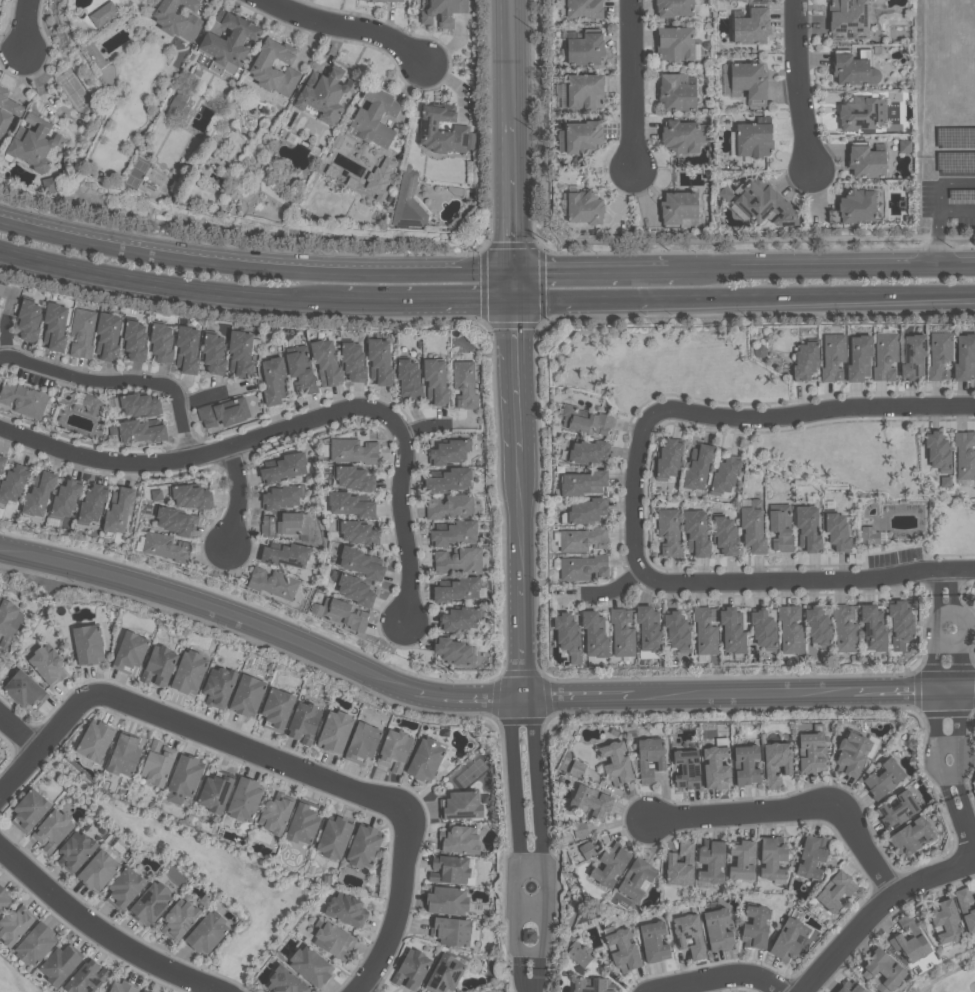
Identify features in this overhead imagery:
building: (387, 1)
building: (580, 8)
building: (673, 8)
building: (442, 12)
building: (104, 13)
road: (25, 19)
building: (177, 19)
building: (848, 19)
road: (359, 24)
building: (751, 27)
building: (229, 40)
building: (674, 45)
building: (583, 49)
building: (96, 53)
road: (510, 59)
building: (273, 69)
building: (853, 69)
building: (748, 83)
road: (799, 85)
road: (635, 86)
building: (584, 92)
building: (676, 93)
building: (321, 96)
building: (177, 104)
building: (6, 113)
building: (861, 113)
building: (375, 118)
building: (441, 131)
building: (679, 137)
building: (581, 138)
building: (336, 141)
building: (752, 141)
building: (32, 144)
building: (905, 145)
building: (865, 162)
building: (379, 180)
building: (49, 185)
road: (511, 194)
road: (939, 198)
building: (407, 202)
building: (765, 203)
building: (856, 207)
building: (584, 208)
building: (678, 209)
road: (72, 234)
road: (937, 237)
road: (826, 264)
road: (327, 268)
road: (595, 268)
road: (511, 284)
road: (169, 285)
traffic signals: (511, 286)
building: (2, 288)
road: (821, 295)
road: (589, 298)
road: (475, 301)
road: (390, 302)
building: (29, 319)
building: (55, 326)
building: (82, 331)
building: (108, 335)
building: (135, 339)
building: (162, 342)
building: (187, 349)
building: (214, 352)
building: (240, 352)
building: (884, 356)
building: (938, 356)
building: (832, 357)
building: (912, 357)
building: (964, 357)
building: (857, 358)
building: (326, 361)
building: (354, 361)
building: (380, 361)
building: (804, 361)
building: (301, 368)
building: (409, 378)
road: (121, 380)
building: (273, 380)
building: (436, 380)
building: (464, 385)
building: (23, 397)
building: (89, 402)
building: (140, 404)
building: (221, 413)
road: (809, 414)
building: (585, 421)
building: (141, 430)
building: (354, 450)
building: (449, 452)
building: (938, 452)
building: (587, 453)
road: (203, 454)
road: (892, 454)
building: (964, 454)
building: (668, 459)
building: (2, 462)
building: (285, 467)
building: (697, 468)
building: (724, 475)
building: (354, 477)
building: (447, 481)
building: (946, 481)
building: (13, 482)
building: (582, 483)
park: (873, 485)
building: (39, 494)
building: (157, 494)
road: (238, 494)
road: (632, 494)
building: (191, 495)
building: (284, 496)
building: (66, 498)
road: (516, 498)
building: (93, 503)
building: (351, 504)
building: (450, 506)
building: (119, 509)
building: (586, 512)
building: (176, 519)
building: (286, 522)
road: (406, 527)
building: (779, 527)
building: (806, 528)
building: (752, 530)
building: (358, 531)
building: (669, 532)
building: (836, 532)
building: (695, 533)
building: (454, 534)
building: (724, 536)
building: (868, 536)
building: (582, 539)
building: (166, 545)
building: (286, 554)
building: (458, 561)
building: (361, 562)
building: (583, 567)
road: (805, 579)
road: (952, 582)
building: (273, 583)
road: (603, 588)
building: (355, 589)
building: (456, 590)
road: (944, 608)
building: (341, 612)
building: (459, 620)
park: (968, 620)
building: (9, 621)
building: (900, 624)
building: (817, 626)
building: (844, 628)
building: (872, 628)
building: (648, 629)
building: (762, 629)
building: (790, 629)
building: (705, 630)
building: (676, 631)
building: (731, 631)
building: (621, 632)
building: (594, 635)
building: (567, 637)
road: (955, 641)
road: (944, 642)
building: (88, 643)
building: (131, 649)
building: (454, 653)
building: (48, 664)
building: (159, 665)
building: (189, 671)
building: (219, 685)
road: (933, 686)
building: (26, 689)
building: (247, 694)
road: (474, 696)
building: (277, 708)
building: (304, 721)
road: (190, 724)
road: (20, 730)
building: (335, 731)
building: (95, 739)
building: (363, 741)
road: (957, 741)
road: (946, 743)
building: (394, 748)
building: (0, 751)
building: (810, 753)
building: (124, 754)
building: (850, 755)
building: (426, 758)
building: (648, 759)
building: (157, 763)
building: (614, 764)
building: (776, 764)
building: (745, 765)
building: (714, 768)
building: (576, 769)
building: (685, 770)
building: (184, 777)
road: (950, 778)
building: (883, 779)
building: (216, 791)
building: (245, 798)
building: (590, 802)
building: (462, 804)
road: (797, 804)
building: (30, 809)
building: (896, 811)
road: (968, 814)
building: (275, 815)
building: (304, 823)
road: (516, 827)
road: (541, 827)
building: (53, 829)
road: (959, 829)
building: (579, 830)
building: (335, 837)
building: (910, 837)
building: (459, 839)
building: (364, 845)
building: (76, 849)
building: (587, 850)
building: (811, 857)
building: (771, 858)
building: (741, 861)
road: (530, 862)
building: (710, 862)
building: (679, 865)
building: (609, 867)
building: (449, 868)
building: (98, 870)
building: (635, 879)
building: (125, 887)
building: (834, 892)
building: (3, 897)
building: (448, 900)
building: (151, 902)
road: (401, 907)
road: (531, 907)
building: (346, 909)
building: (965, 909)
road: (878, 910)
building: (180, 918)
building: (945, 923)
building: (14, 925)
building: (754, 927)
building: (453, 930)
building: (716, 930)
road: (105, 931)
building: (207, 931)
building: (688, 935)
building: (528, 937)
building: (335, 940)
building: (788, 941)
building: (653, 942)
building: (36, 943)
building: (910, 948)
road: (529, 950)
building: (622, 951)
building: (577, 955)
building: (60, 964)
building: (311, 964)
building: (411, 969)
building: (882, 971)
building: (445, 973)
road: (729, 974)
road: (521, 976)
park: (950, 976)
building: (87, 977)
road: (539, 977)
park: (15, 978)
building: (286, 981)
building: (592, 985)
building: (124, 987)
building: (849, 987)
building: (144, 991)

